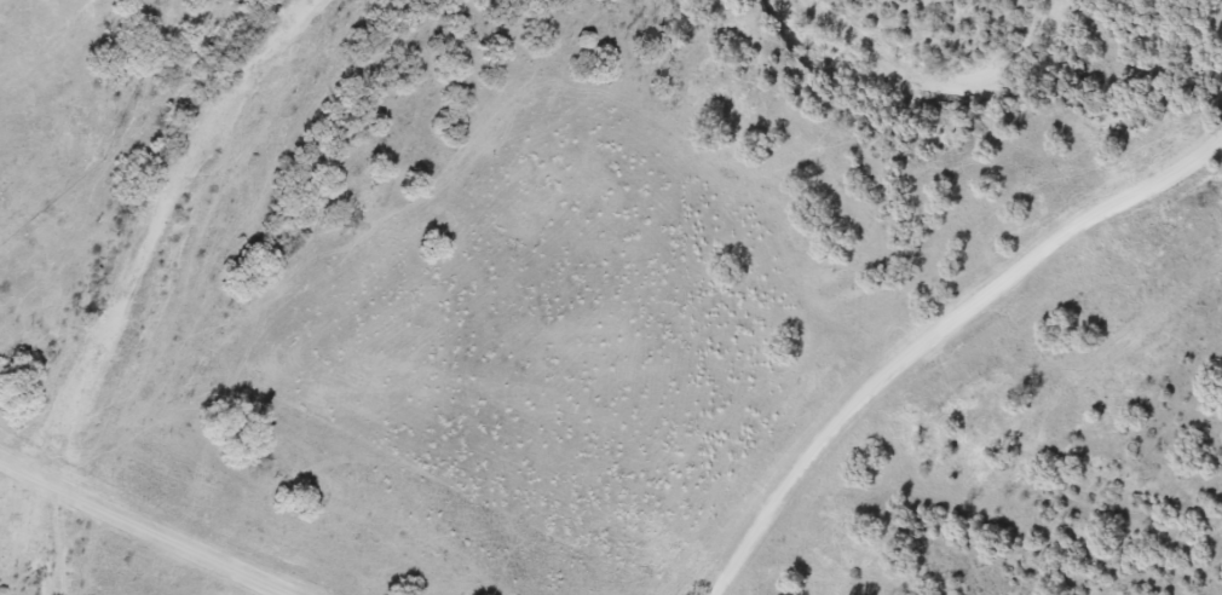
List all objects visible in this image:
road: (930, 331)

